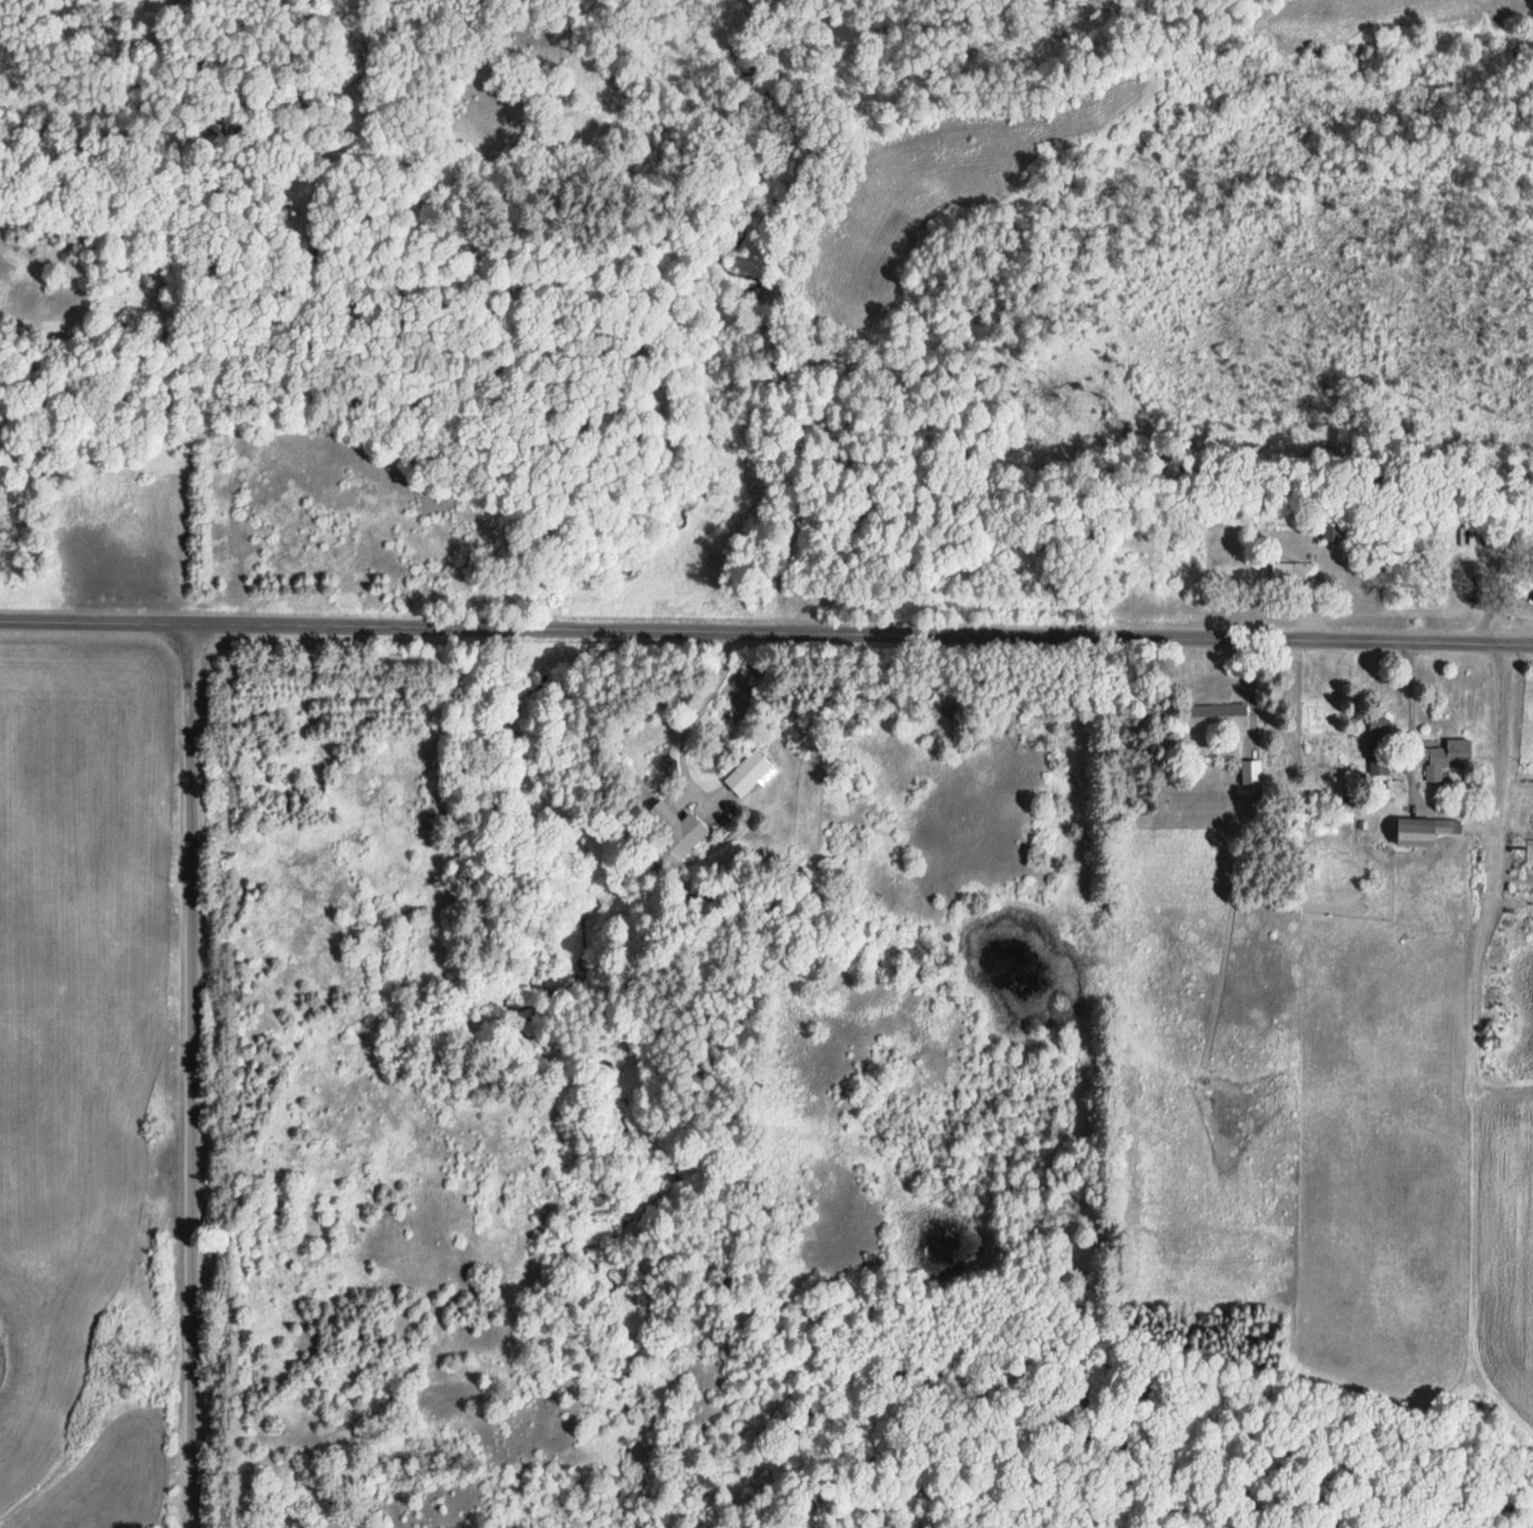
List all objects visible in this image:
building: (1332, 532)
building: (1296, 574)
road: (766, 633)
building: (1215, 716)
building: (1381, 746)
building: (1449, 758)
building: (1252, 772)
building: (751, 774)
building: (1426, 831)
building: (672, 836)
road: (190, 1077)

